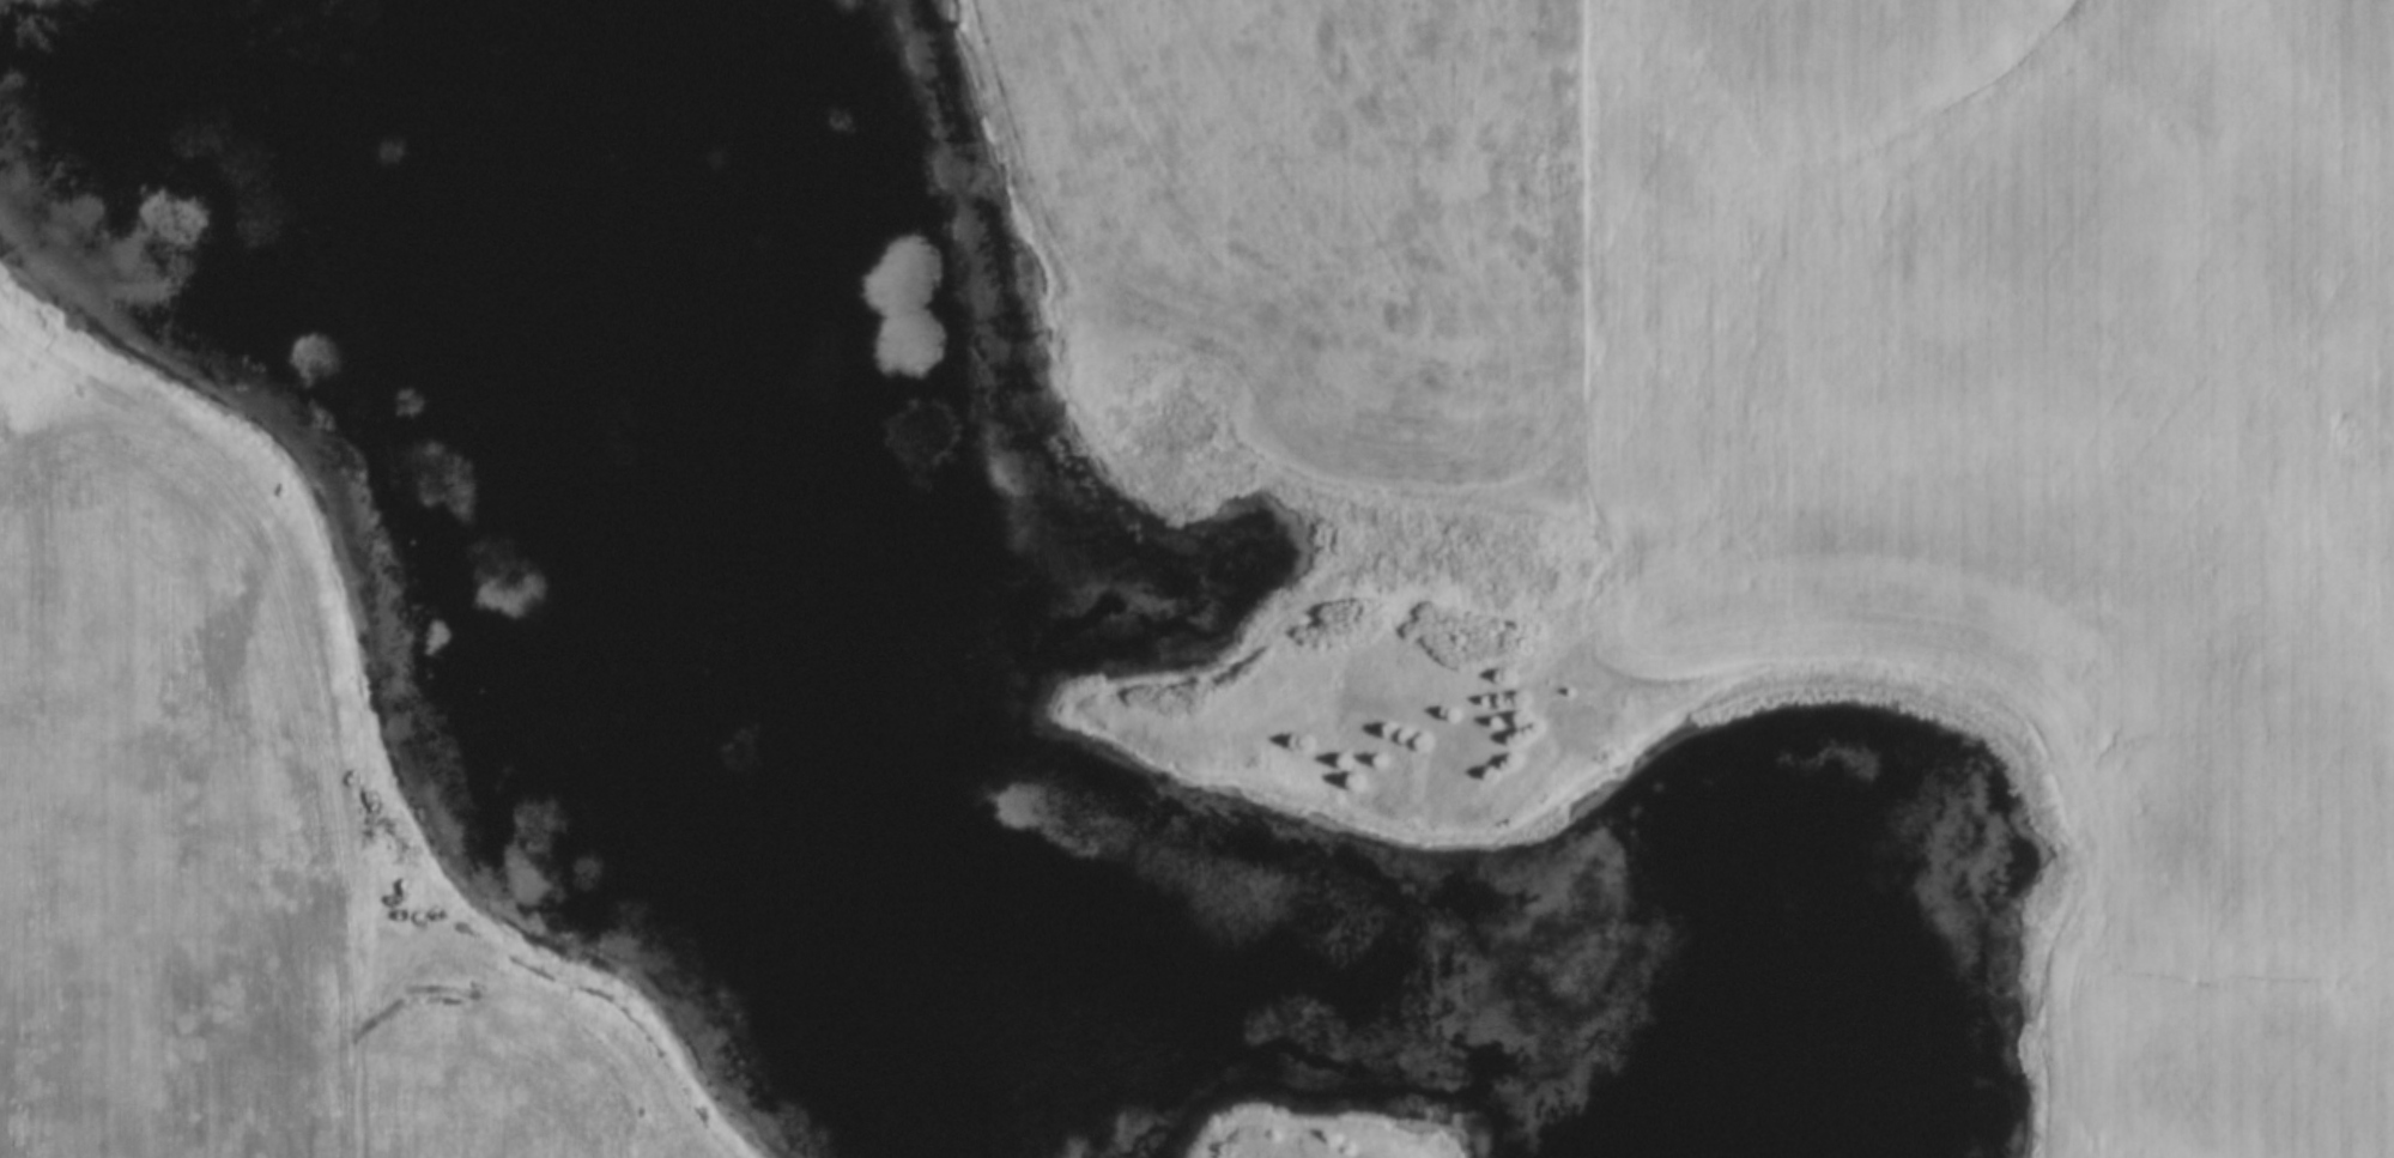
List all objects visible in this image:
road: (314, 675)

